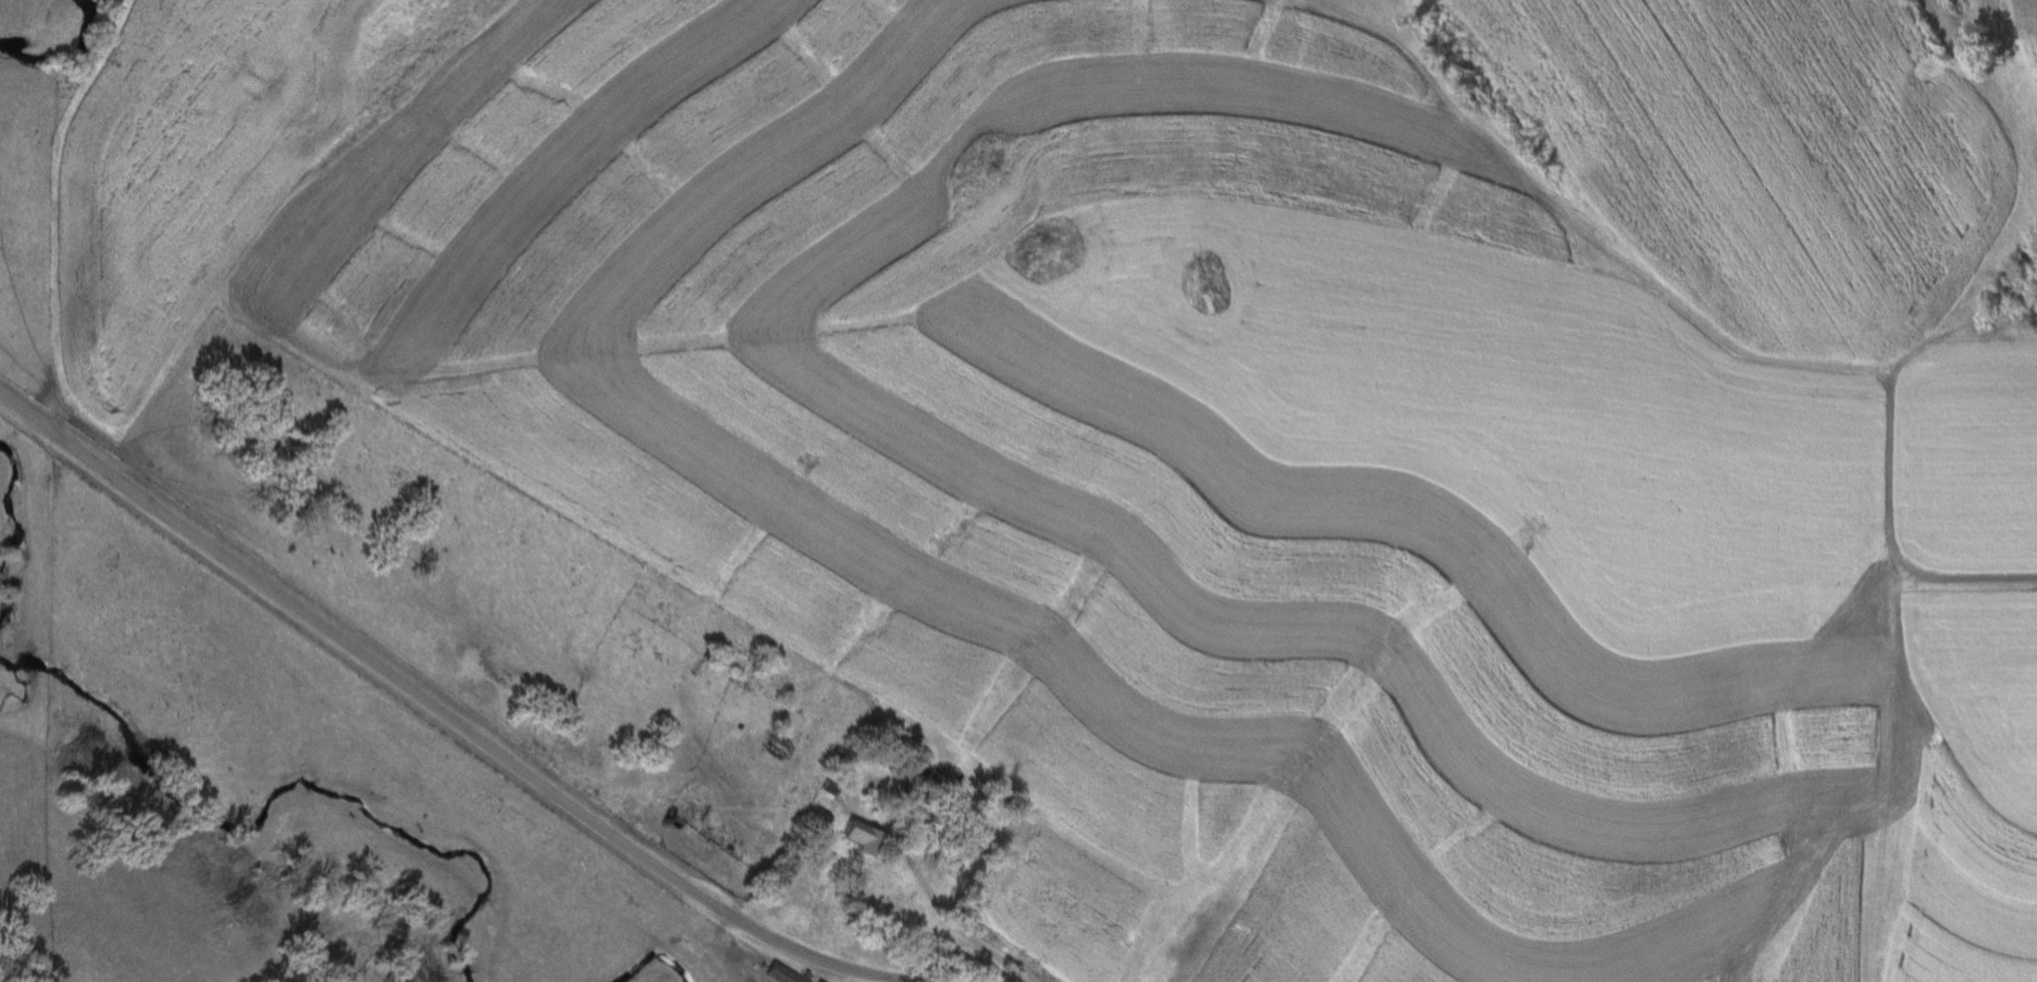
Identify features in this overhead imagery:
road: (1890, 531)
road: (443, 712)
building: (774, 746)
building: (698, 819)
building: (850, 839)
building: (952, 866)
building: (778, 974)

